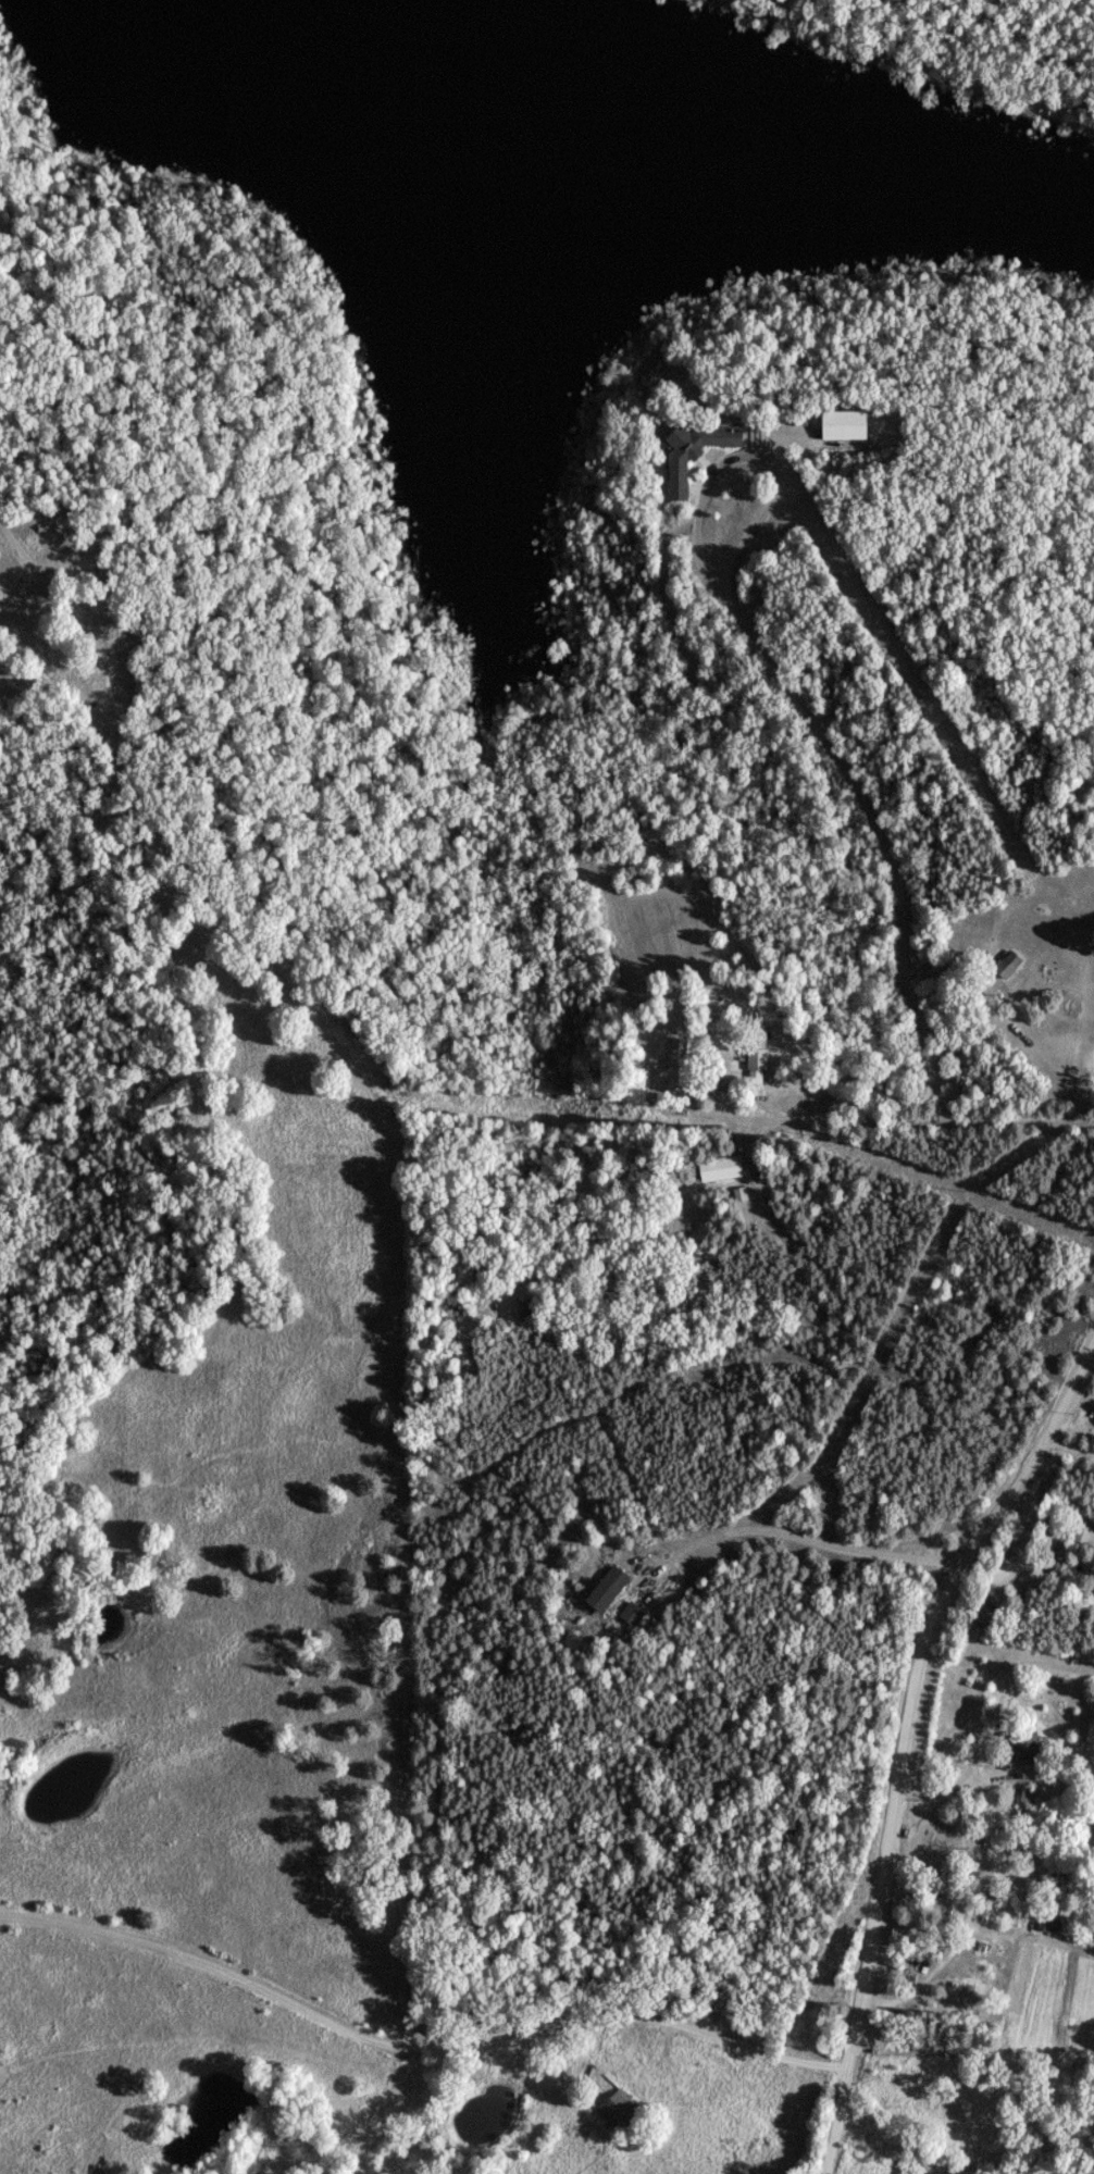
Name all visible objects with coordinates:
building: (843, 423)
building: (693, 450)
road: (787, 692)
building: (1007, 962)
building: (757, 1057)
building: (675, 1064)
road: (903, 1125)
building: (720, 1167)
building: (1085, 1531)
road: (655, 1549)
road: (843, 1550)
building: (607, 1588)
building: (632, 1613)
road: (904, 1740)
building: (1025, 1749)
road: (941, 1794)
road: (415, 2047)
building: (619, 2109)

